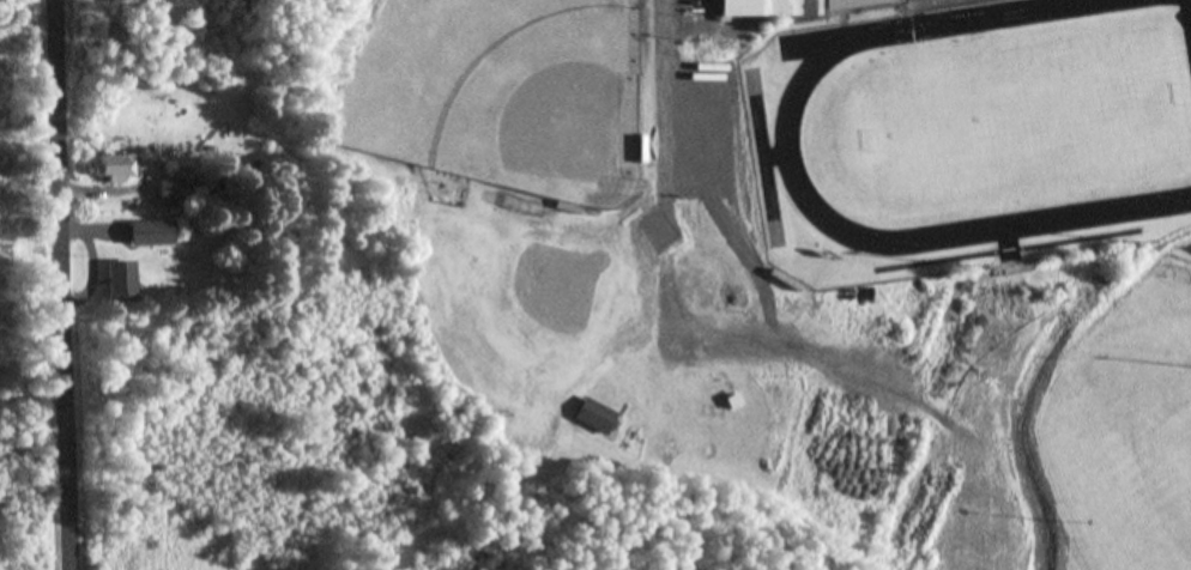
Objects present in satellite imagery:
building: (808, 6)
park: (788, 127)
building: (116, 165)
building: (175, 192)
building: (146, 230)
building: (122, 280)
road: (667, 284)
road: (64, 285)
park: (591, 354)
building: (595, 416)

